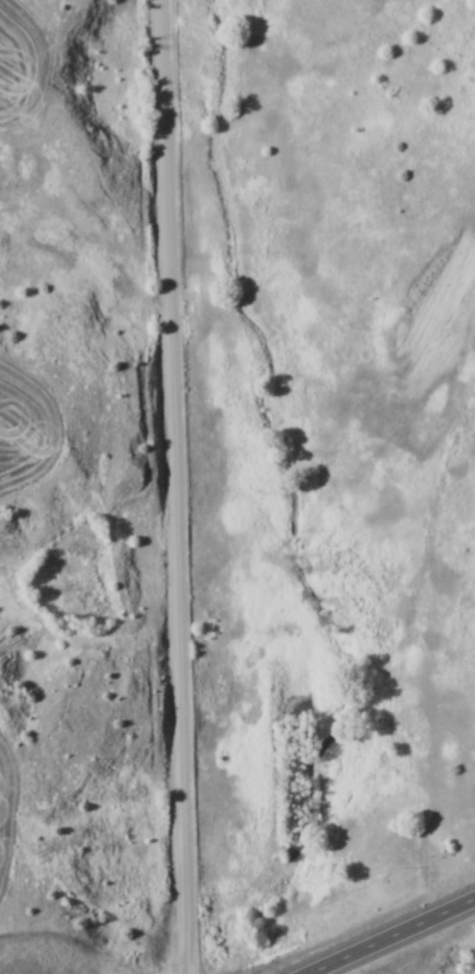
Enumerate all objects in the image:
road: (179, 486)
road: (396, 938)

